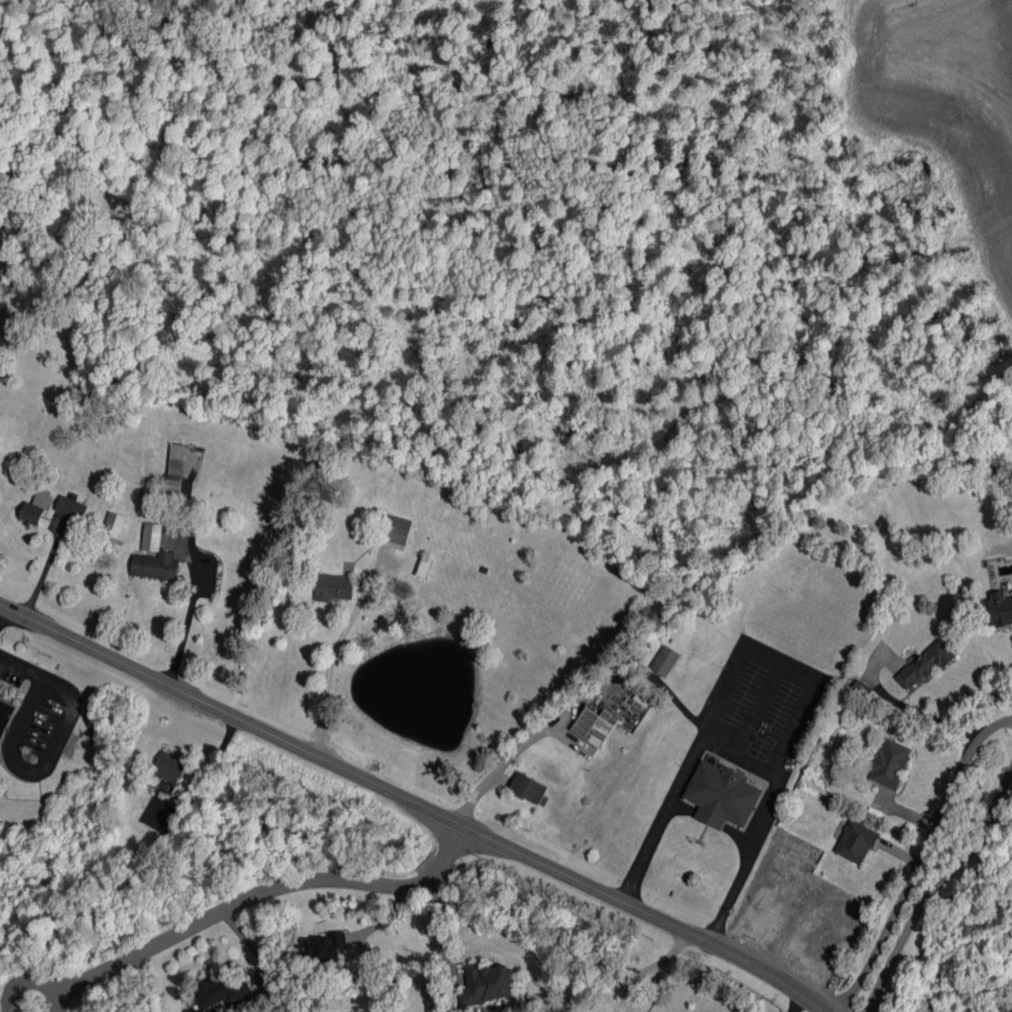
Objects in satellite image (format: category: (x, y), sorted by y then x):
building: (175, 467)
building: (71, 507)
building: (35, 509)
building: (114, 524)
building: (394, 531)
building: (152, 537)
building: (156, 565)
building: (423, 566)
road: (40, 569)
building: (333, 587)
building: (998, 609)
road: (184, 622)
building: (664, 660)
road: (780, 660)
building: (926, 663)
road: (22, 665)
building: (0, 685)
road: (62, 686)
road: (27, 713)
building: (5, 715)
building: (594, 725)
road: (732, 755)
road: (48, 759)
road: (501, 762)
building: (890, 763)
building: (170, 766)
building: (528, 787)
building: (722, 795)
road: (414, 804)
building: (856, 841)
road: (920, 860)
road: (936, 892)
road: (263, 894)
building: (325, 947)
road: (22, 953)
road: (32, 977)
road: (622, 980)
building: (487, 983)
building: (222, 989)
road: (797, 1004)

